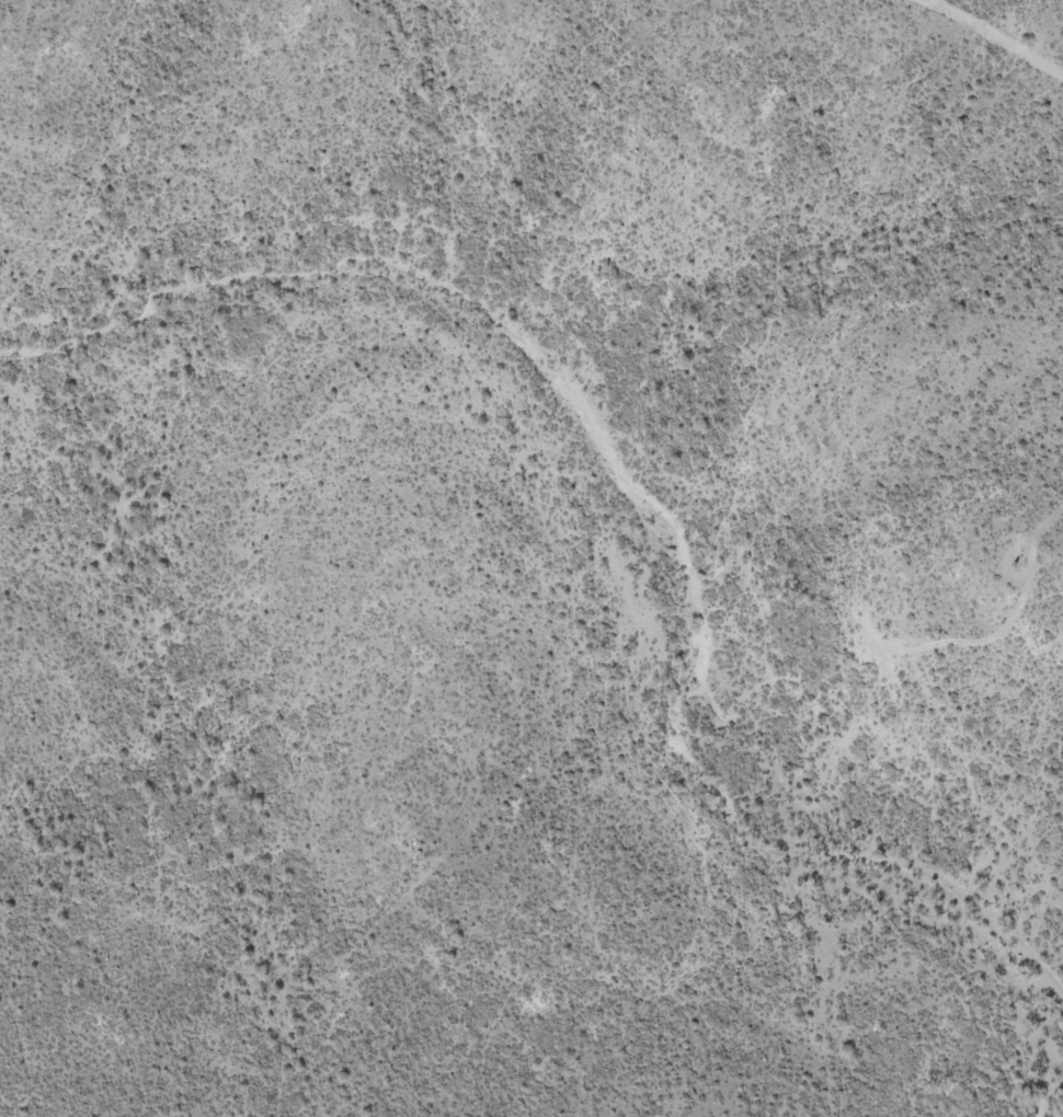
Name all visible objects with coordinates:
road: (999, 36)

